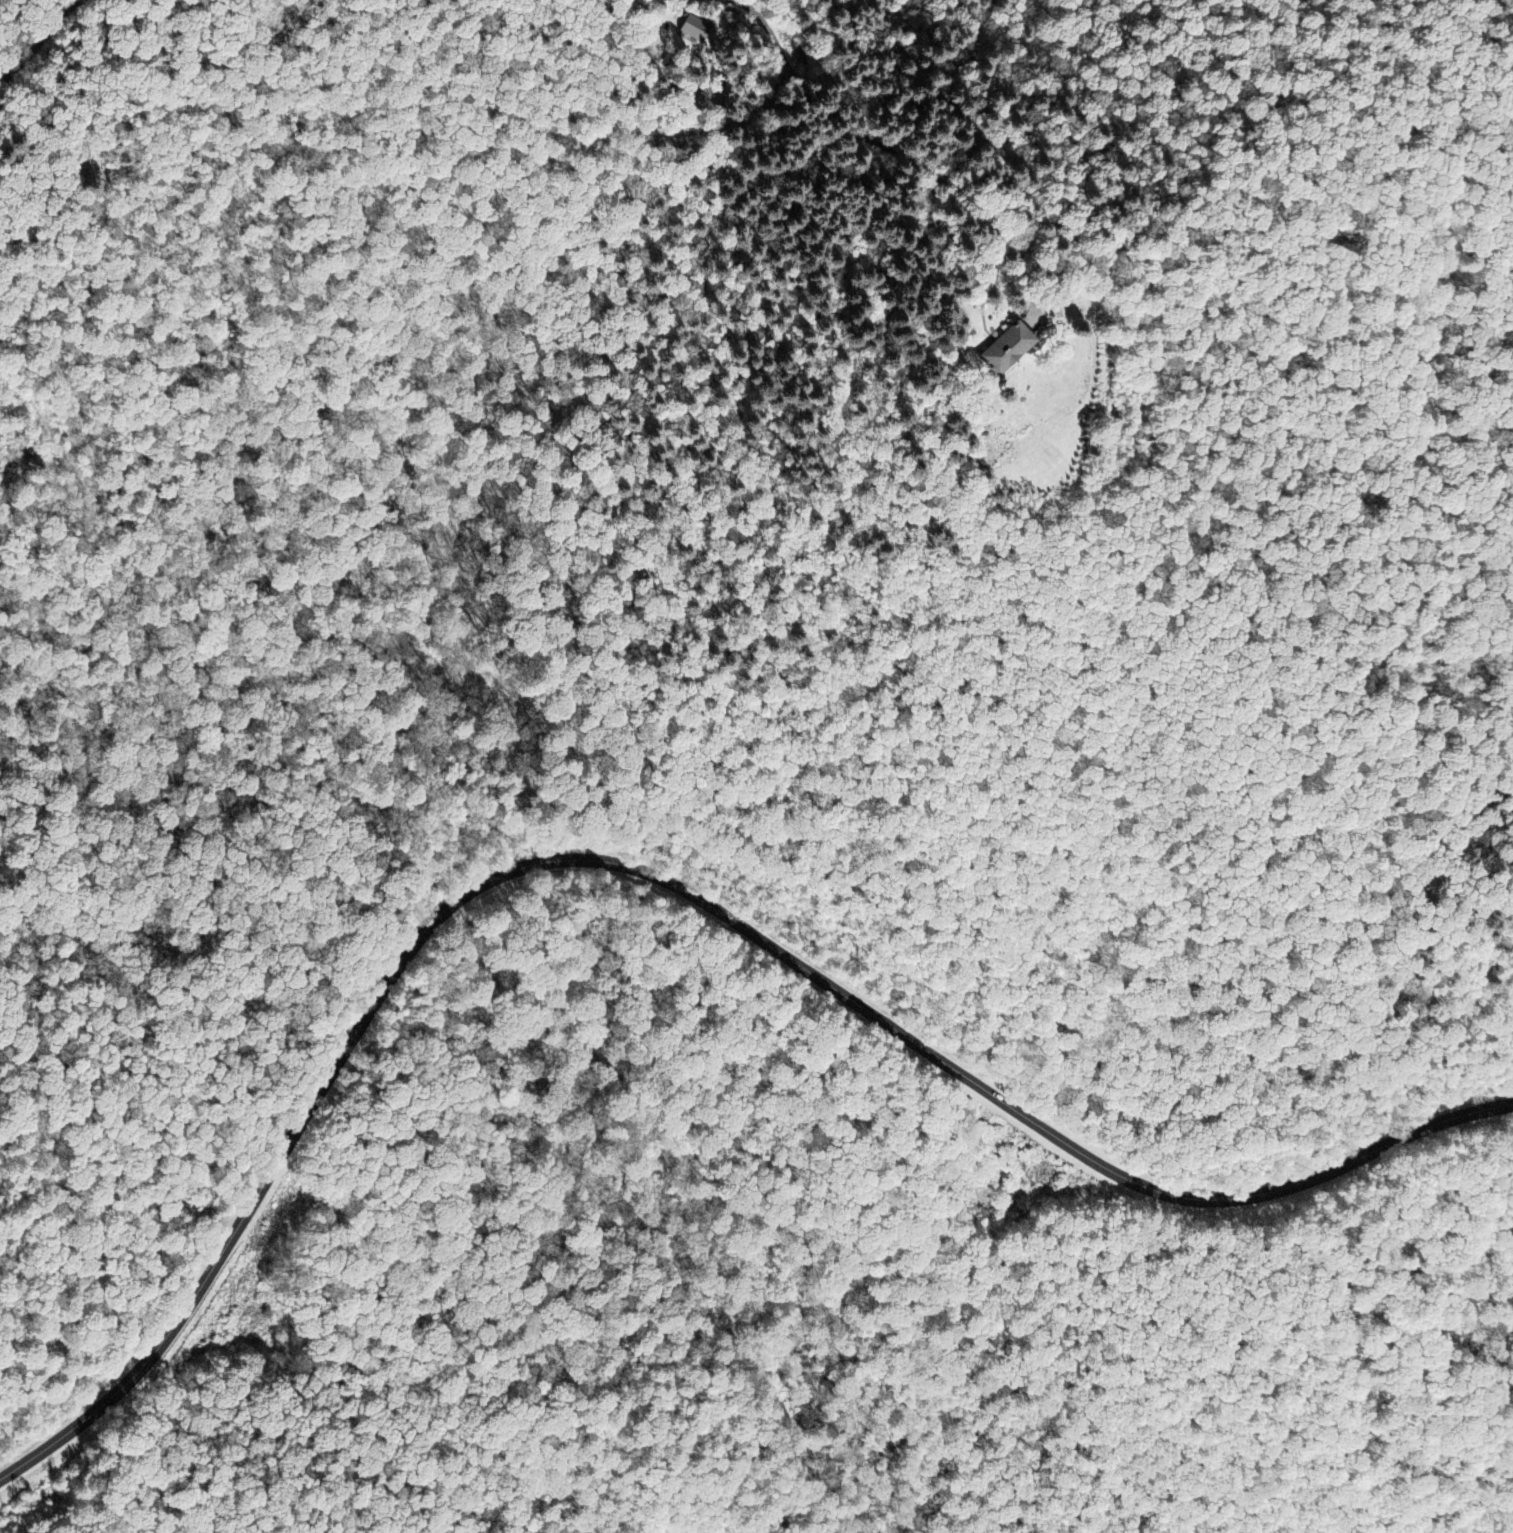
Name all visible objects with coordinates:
building: (696, 29)
building: (1015, 350)
road: (486, 683)
road: (660, 876)

